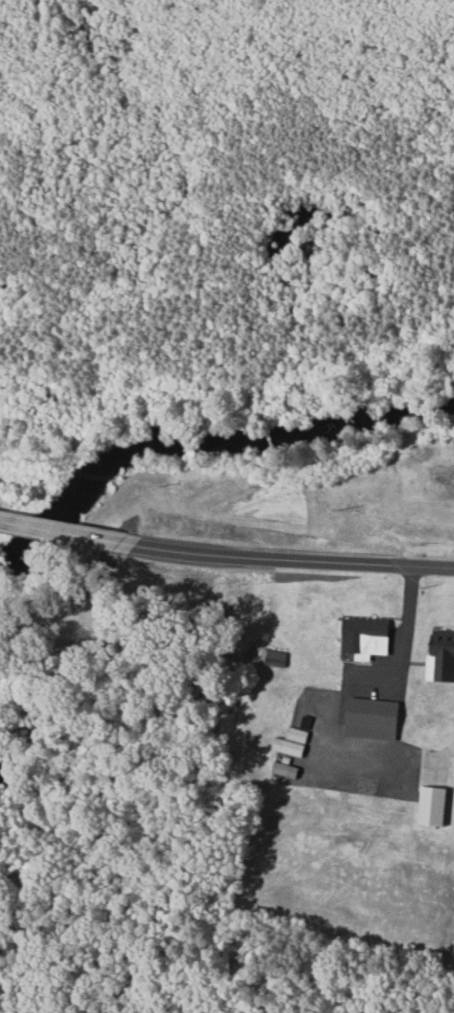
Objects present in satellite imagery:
road: (52, 531)
road: (279, 557)
building: (360, 636)
building: (438, 656)
road: (336, 696)
building: (367, 719)
building: (287, 743)
building: (426, 806)

